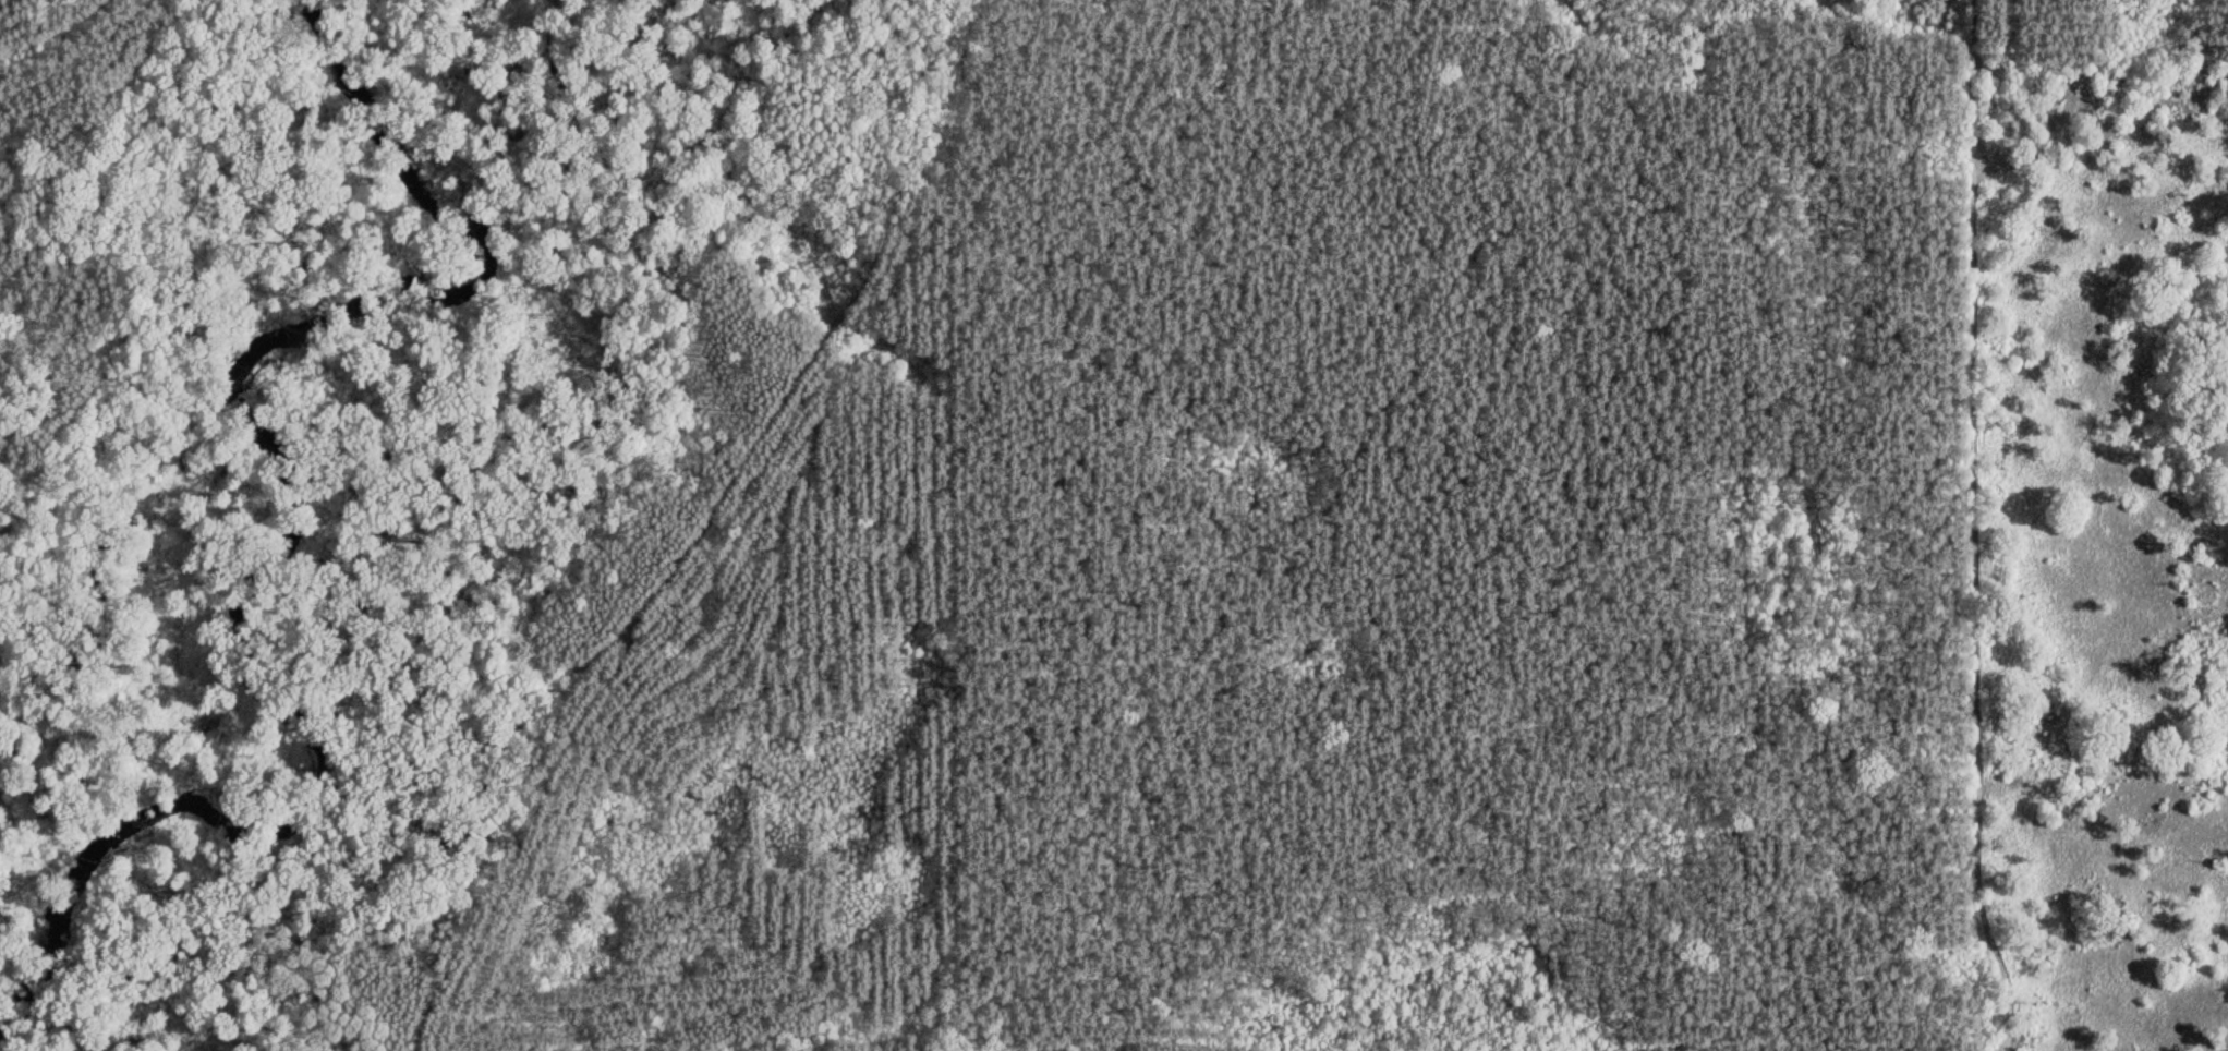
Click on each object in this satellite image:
road: (880, 161)
road: (61, 232)
road: (630, 688)

